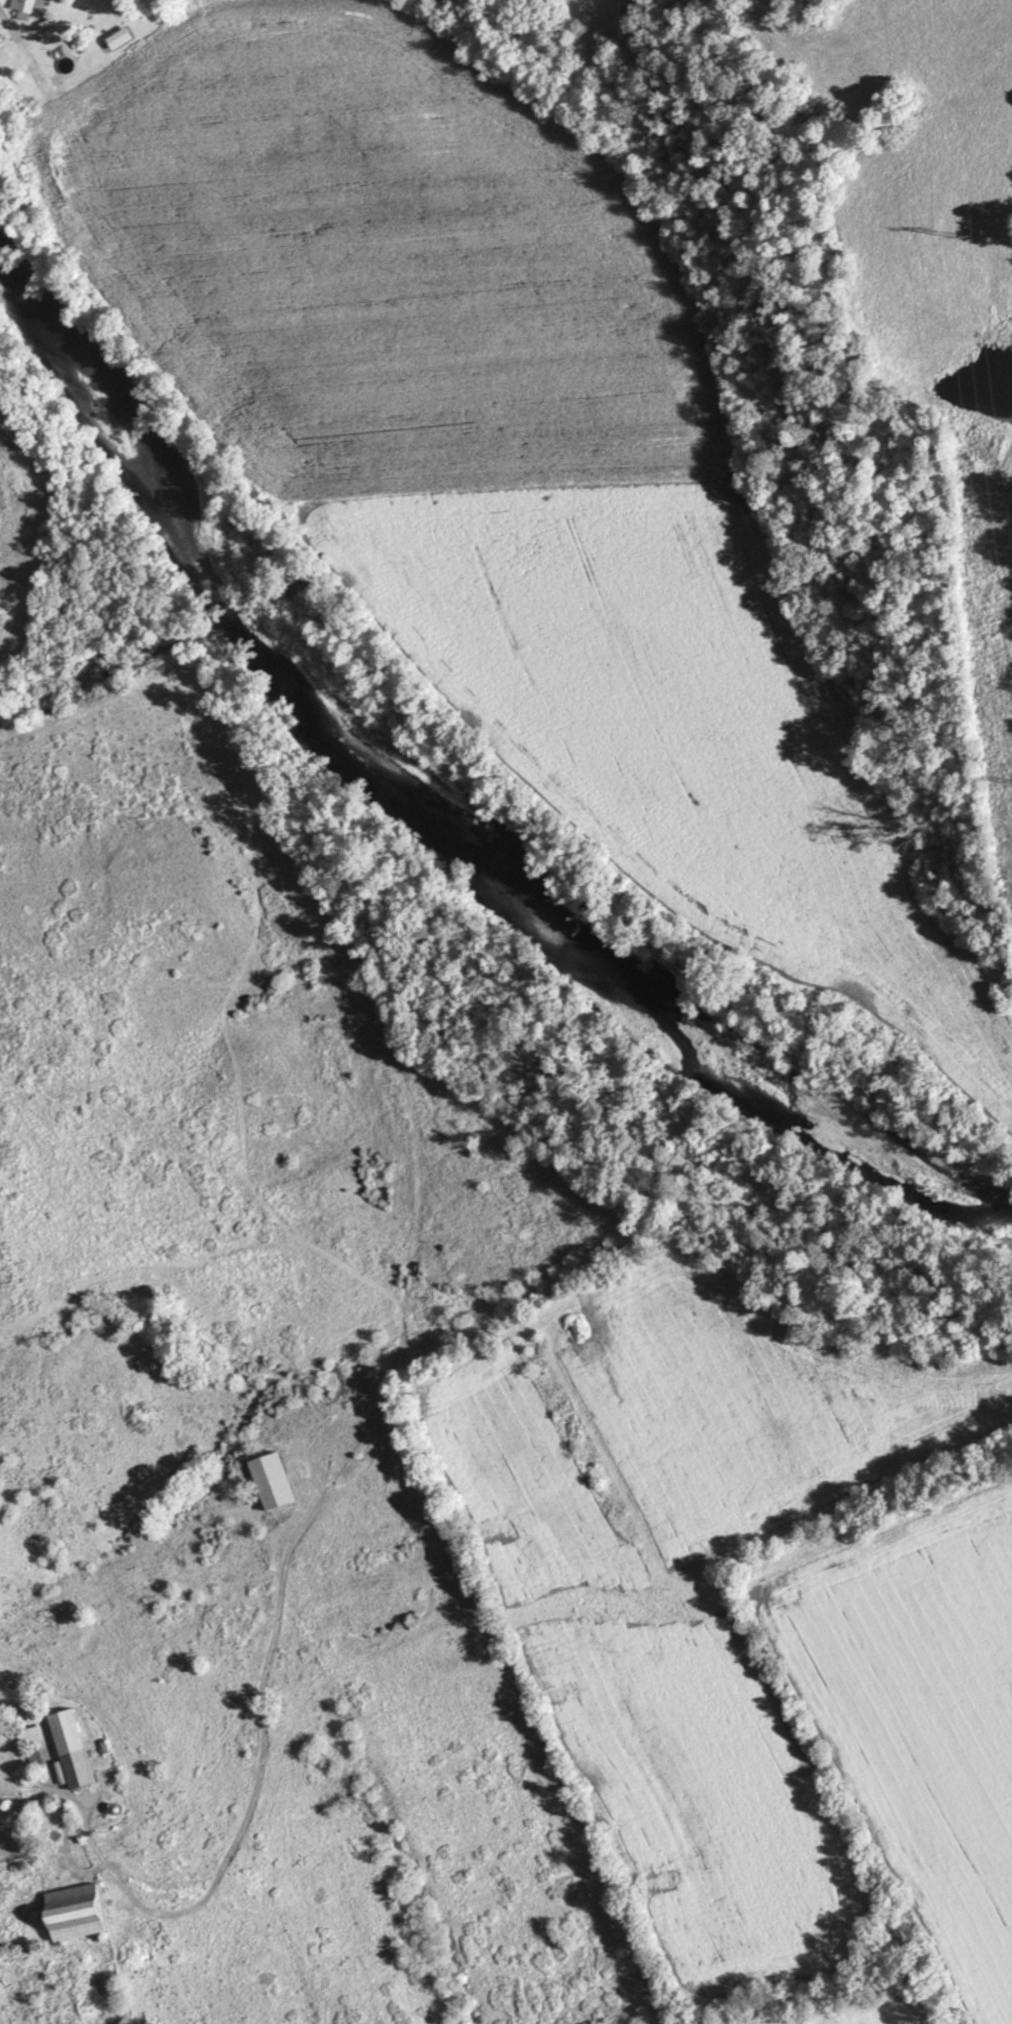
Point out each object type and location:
building: (27, 6)
power tower: (963, 233)
river: (439, 803)
building: (274, 1481)
building: (27, 1737)
building: (71, 1751)
building: (74, 1912)

